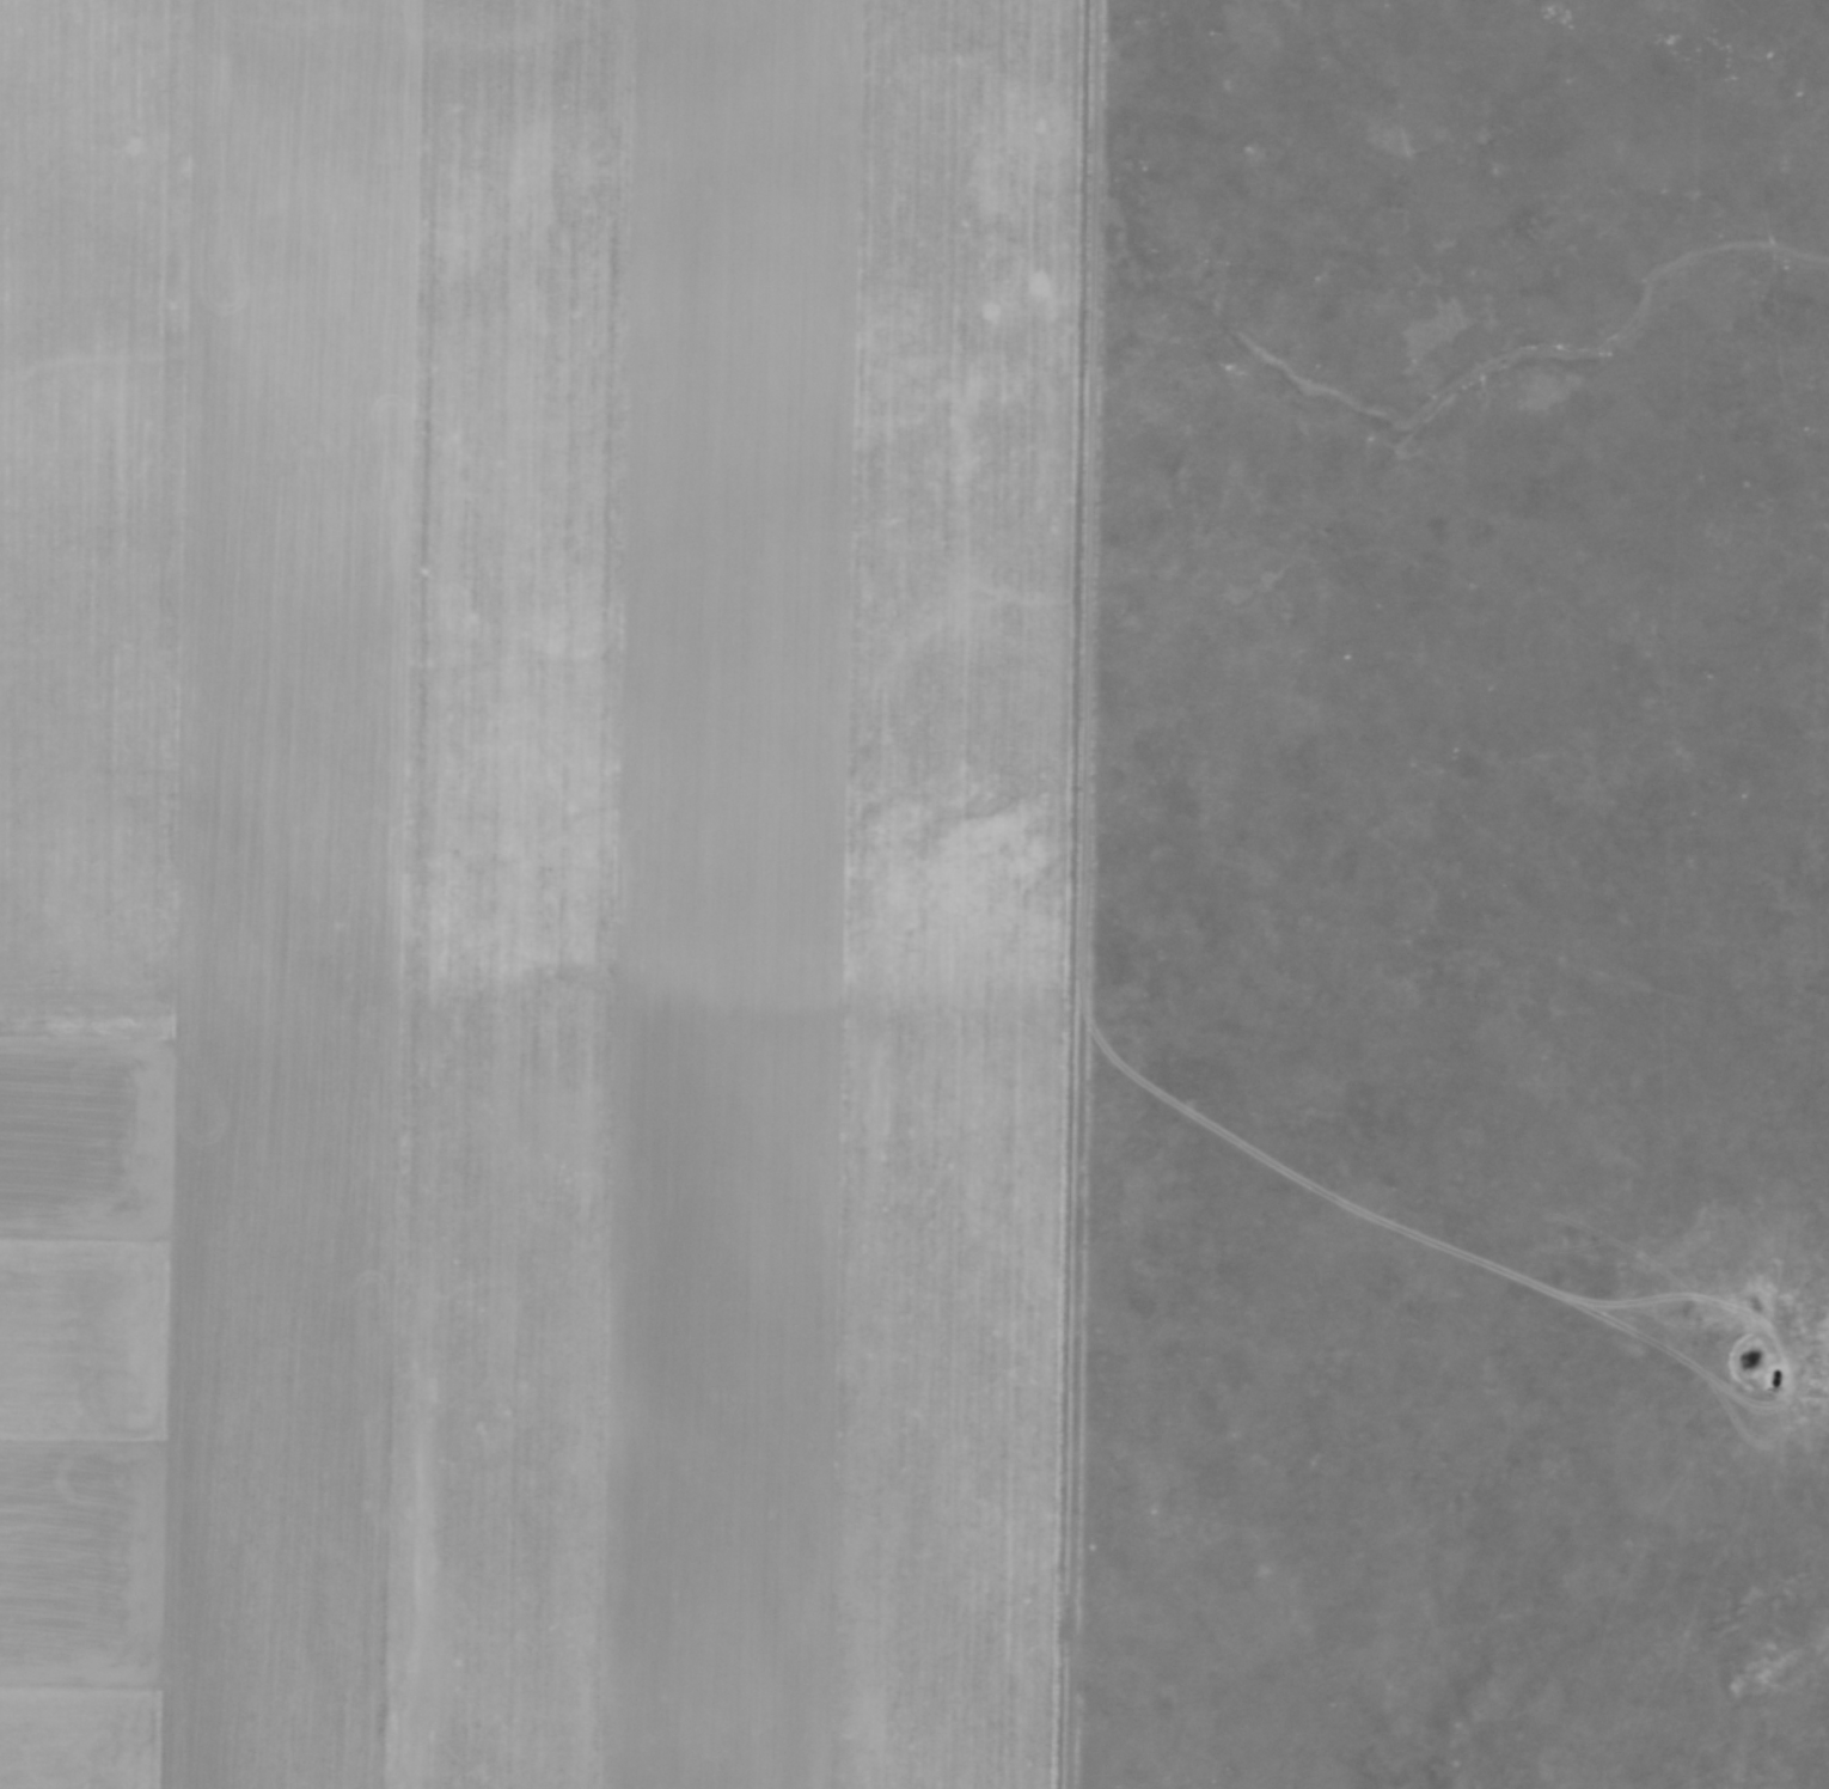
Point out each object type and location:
crop: (539, 891)

